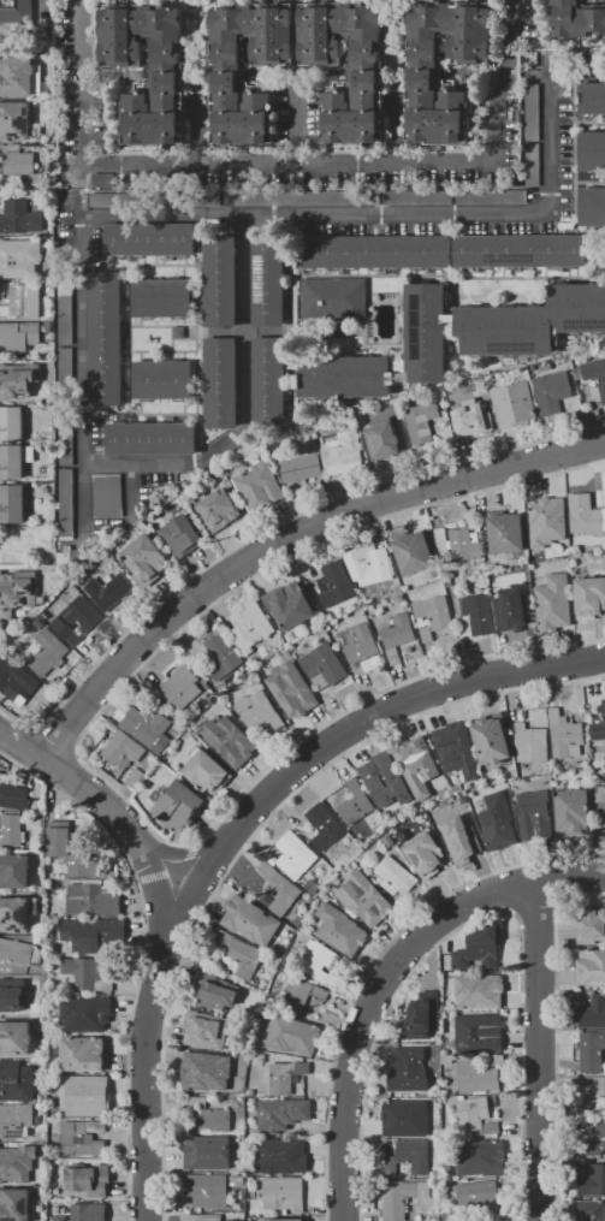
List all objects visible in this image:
road: (43, 4)
building: (16, 11)
building: (576, 19)
building: (227, 69)
building: (423, 73)
building: (19, 76)
building: (166, 77)
road: (504, 79)
building: (591, 97)
building: (532, 111)
building: (17, 121)
road: (295, 124)
road: (393, 131)
road: (196, 134)
building: (592, 149)
building: (16, 160)
road: (207, 162)
building: (532, 164)
building: (102, 179)
road: (79, 189)
building: (490, 196)
building: (301, 197)
building: (417, 197)
building: (117, 198)
building: (184, 198)
building: (592, 206)
road: (255, 212)
building: (19, 217)
building: (149, 239)
building: (520, 250)
building: (373, 251)
building: (18, 260)
building: (48, 275)
building: (220, 280)
building: (268, 280)
building: (162, 297)
building: (333, 297)
building: (18, 302)
building: (577, 307)
building: (65, 308)
building: (49, 326)
building: (505, 330)
building: (178, 332)
building: (426, 332)
building: (18, 336)
building: (106, 338)
building: (593, 373)
building: (65, 375)
building: (344, 377)
building: (18, 378)
building: (162, 379)
building: (490, 379)
building: (220, 381)
building: (268, 381)
building: (551, 391)
building: (419, 398)
building: (514, 404)
road: (244, 405)
building: (476, 414)
building: (362, 415)
building: (420, 422)
building: (11, 423)
building: (65, 435)
building: (385, 437)
building: (150, 438)
building: (342, 451)
building: (14, 460)
building: (301, 468)
building: (259, 486)
building: (107, 496)
building: (12, 503)
building: (66, 503)
building: (218, 509)
building: (585, 514)
building: (545, 526)
building: (506, 533)
building: (182, 535)
road: (287, 539)
building: (458, 543)
building: (413, 552)
building: (144, 559)
building: (369, 564)
building: (334, 583)
building: (397, 588)
building: (109, 589)
building: (17, 592)
building: (589, 597)
building: (401, 598)
building: (516, 599)
building: (553, 601)
building: (290, 605)
building: (434, 611)
building: (478, 612)
building: (77, 618)
building: (38, 623)
building: (249, 626)
building: (426, 633)
building: (396, 635)
building: (357, 642)
building: (102, 646)
building: (291, 646)
building: (46, 651)
building: (220, 656)
building: (253, 662)
building: (372, 663)
building: (322, 664)
building: (11, 678)
building: (291, 687)
building: (179, 688)
building: (49, 693)
building: (259, 709)
building: (146, 725)
building: (599, 725)
road: (369, 728)
building: (107, 729)
building: (564, 735)
building: (491, 739)
building: (530, 739)
building: (229, 740)
building: (597, 748)
building: (456, 749)
building: (121, 751)
building: (416, 764)
building: (204, 770)
building: (540, 770)
building: (134, 777)
building: (384, 780)
building: (458, 789)
building: (12, 794)
building: (37, 796)
building: (465, 796)
road: (101, 800)
building: (600, 800)
building: (355, 802)
building: (177, 806)
building: (573, 811)
building: (385, 813)
building: (535, 814)
building: (498, 822)
building: (324, 824)
building: (11, 829)
building: (457, 832)
building: (387, 840)
building: (71, 848)
building: (425, 853)
building: (295, 854)
building: (14, 871)
building: (395, 876)
building: (312, 887)
building: (277, 890)
building: (363, 897)
building: (93, 899)
building: (14, 914)
building: (249, 919)
building: (337, 926)
building: (593, 926)
building: (91, 932)
building: (37, 938)
building: (479, 948)
building: (19, 952)
building: (241, 955)
building: (318, 961)
building: (591, 967)
building: (87, 972)
road: (382, 977)
building: (275, 986)
building: (220, 990)
building: (476, 991)
building: (301, 992)
building: (12, 995)
building: (428, 998)
building: (85, 1013)
building: (593, 1013)
building: (420, 1026)
building: (204, 1030)
building: (479, 1032)
building: (293, 1033)
building: (17, 1038)
road: (148, 1050)
building: (588, 1050)
building: (84, 1053)
road: (538, 1053)
building: (447, 1059)
building: (493, 1059)
building: (206, 1067)
building: (40, 1069)
building: (408, 1069)
building: (286, 1075)
building: (476, 1078)
building: (16, 1080)
building: (593, 1085)
building: (198, 1087)
building: (250, 1092)
building: (84, 1093)
building: (195, 1102)
building: (407, 1109)
building: (281, 1113)
building: (474, 1115)
building: (214, 1119)
building: (14, 1120)
building: (599, 1125)
building: (432, 1128)
building: (386, 1131)
building: (402, 1131)
building: (81, 1137)
building: (592, 1148)
building: (207, 1152)
building: (280, 1155)
building: (408, 1157)
building: (479, 1157)
building: (17, 1163)
building: (177, 1168)
building: (81, 1176)
building: (235, 1180)
building: (592, 1181)
building: (207, 1190)
building: (35, 1192)
building: (283, 1193)
building: (475, 1193)
building: (402, 1198)
building: (14, 1204)
building: (177, 1208)
building: (57, 1209)
building: (63, 1210)
building: (591, 1210)
building: (88, 1211)
building: (449, 1216)
building: (59, 1217)
building: (203, 1217)
building: (434, 1217)
building: (35, 1219)
building: (283, 1219)
building: (419, 1219)

